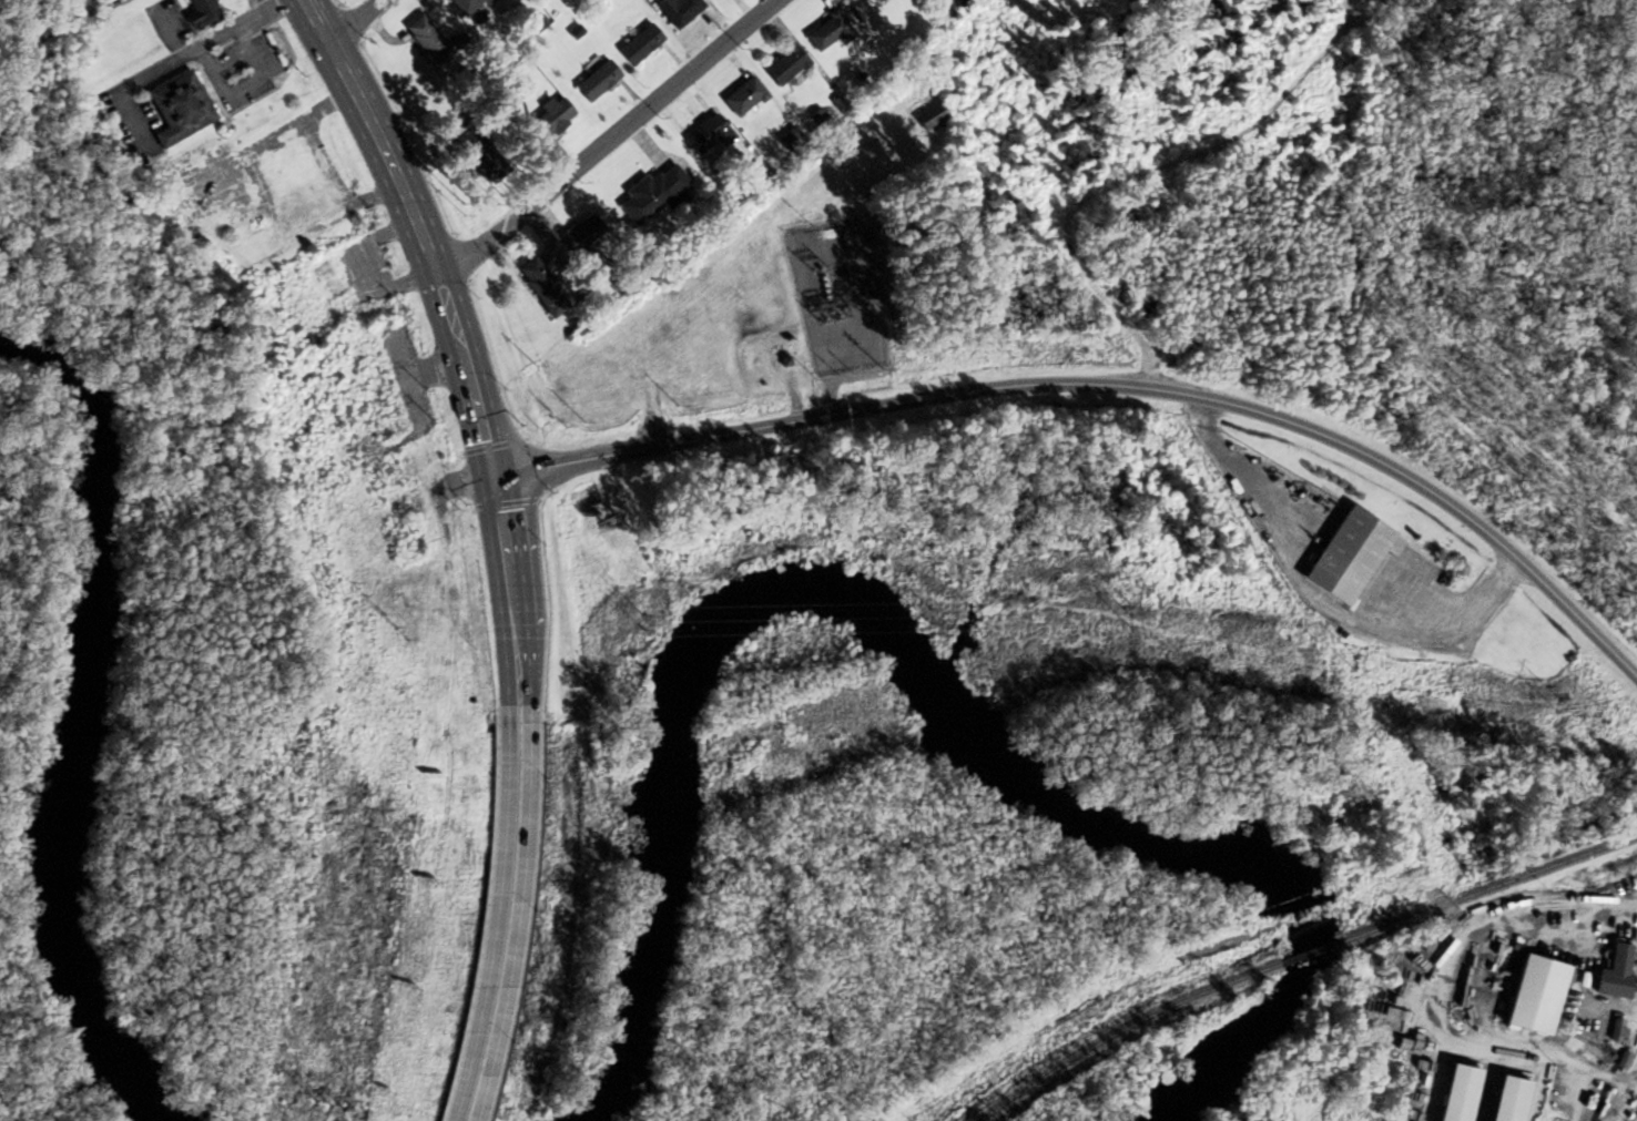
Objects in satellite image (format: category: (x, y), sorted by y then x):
building: (465, 4)
building: (677, 10)
building: (201, 13)
road: (355, 21)
building: (827, 31)
building: (426, 40)
building: (639, 44)
road: (185, 52)
building: (784, 64)
building: (596, 81)
building: (742, 96)
building: (180, 109)
building: (931, 115)
building: (548, 119)
building: (706, 133)
building: (789, 137)
road: (610, 140)
building: (476, 152)
building: (291, 161)
building: (651, 194)
building: (305, 207)
building: (582, 231)
building: (250, 248)
building: (324, 279)
road: (444, 285)
building: (541, 286)
power substation: (835, 297)
road: (1105, 384)
traffic signals: (491, 476)
building: (1345, 556)
power tower: (1130, 615)
road: (528, 646)
road: (505, 649)
power tower: (1352, 662)
power tower: (985, 670)
power tower: (1557, 704)
power tower: (607, 813)
power tower: (439, 877)
railway: (1487, 887)
road: (497, 914)
road: (518, 914)
railway: (1309, 954)
building: (1614, 972)
road: (1426, 991)
building: (1534, 995)
railway: (1120, 1032)

